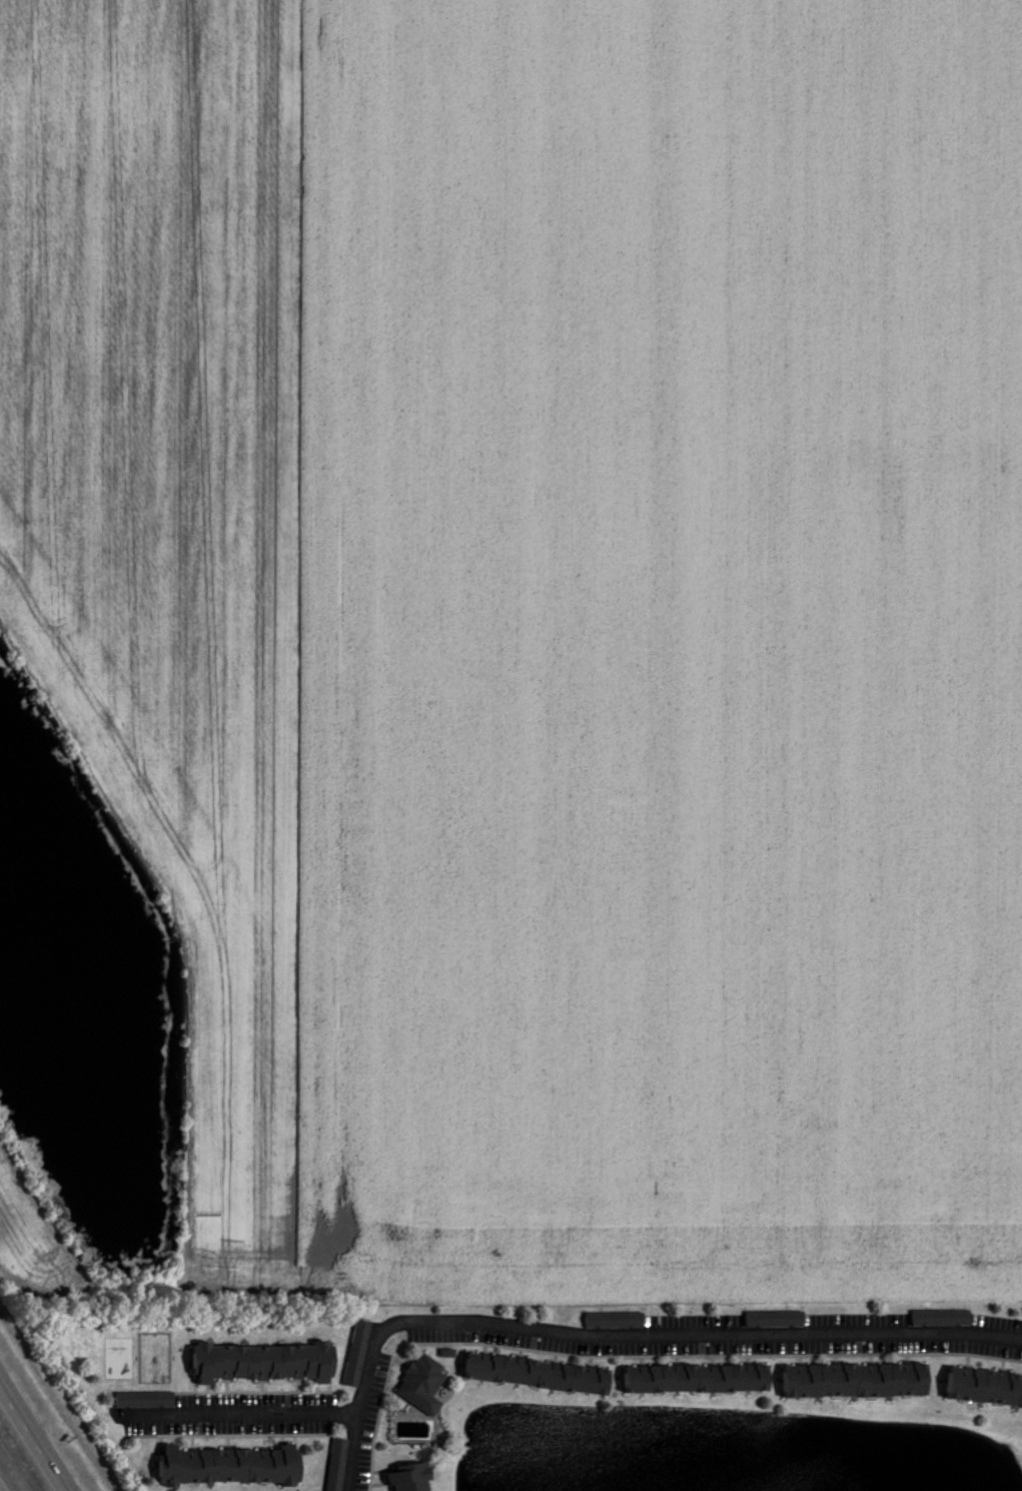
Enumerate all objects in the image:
building: (945, 1318)
building: (778, 1319)
building: (618, 1320)
road: (702, 1333)
building: (360, 1353)
building: (451, 1353)
building: (269, 1362)
building: (542, 1374)
building: (703, 1378)
building: (862, 1380)
building: (426, 1383)
building: (986, 1388)
building: (149, 1399)
road: (361, 1411)
road: (242, 1418)
road: (33, 1437)
building: (340, 1464)
building: (236, 1466)
building: (414, 1478)
road: (1, 1489)

